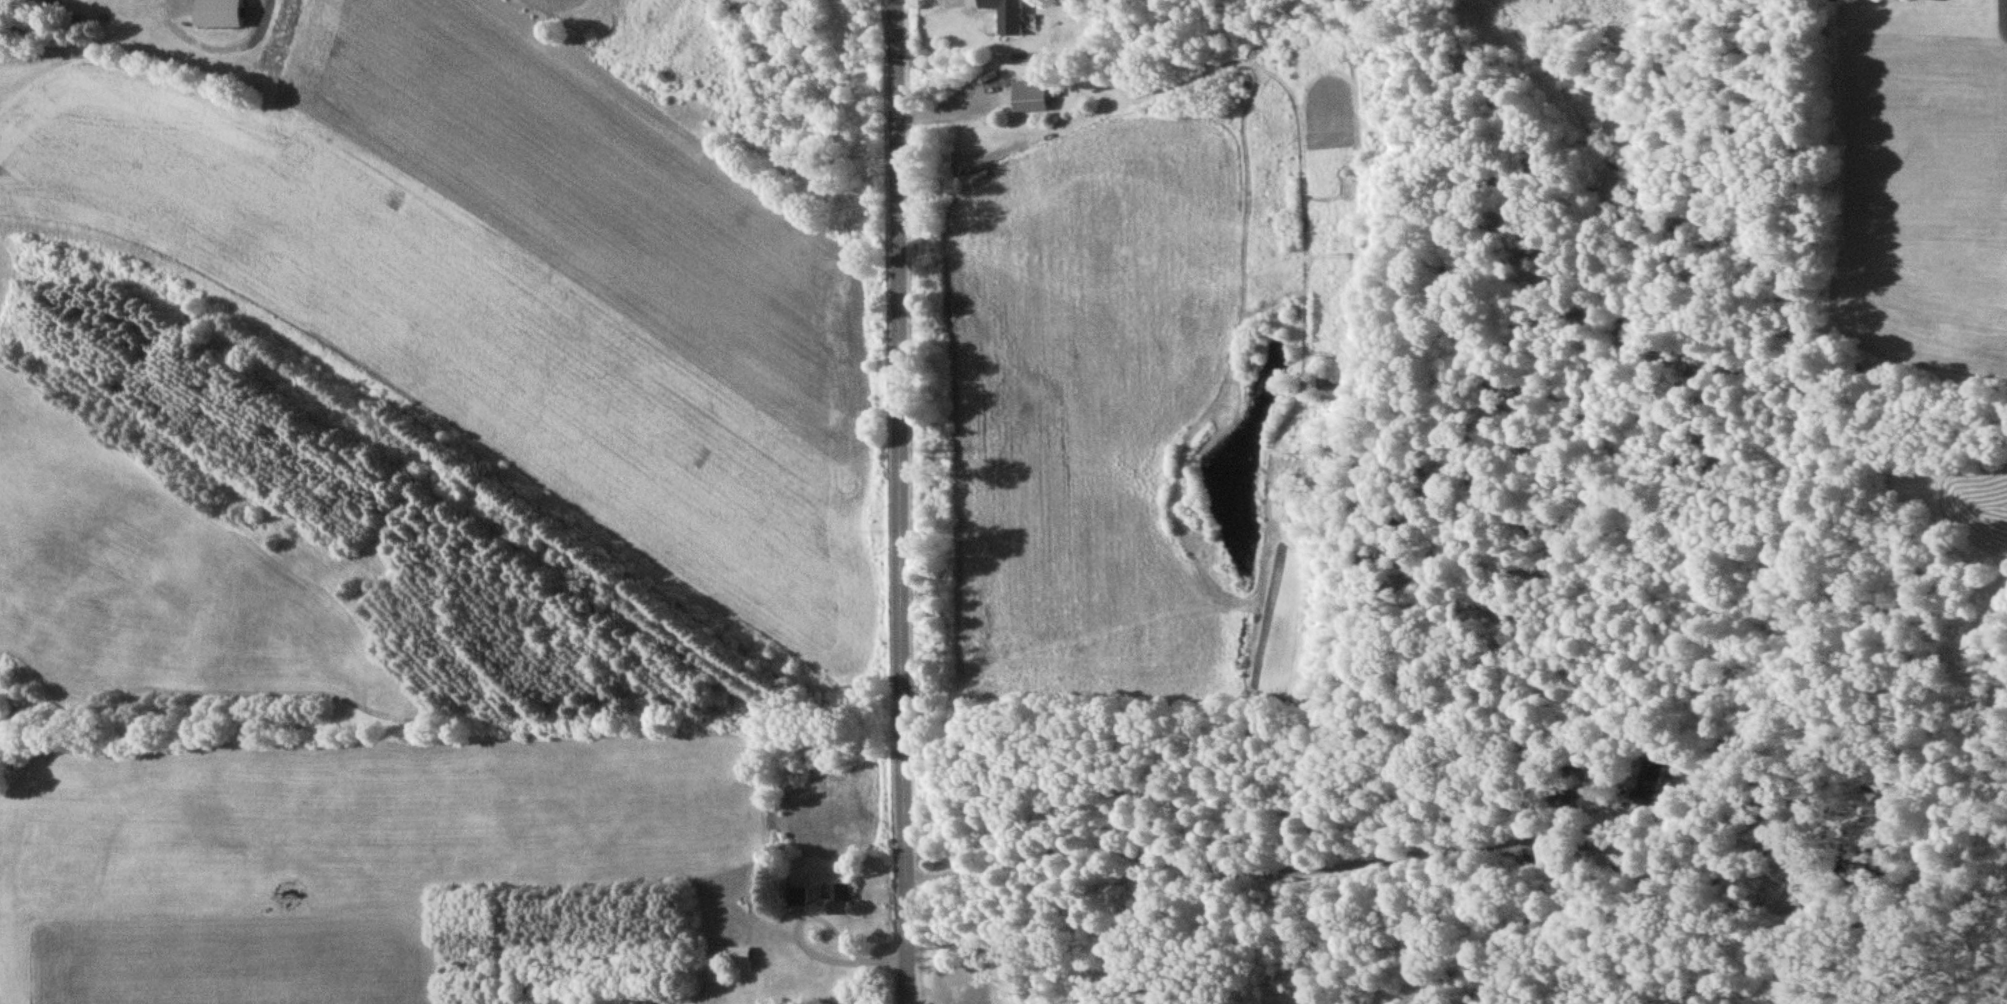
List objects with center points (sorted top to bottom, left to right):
building: (225, 13)
building: (1012, 15)
building: (1034, 94)
road: (900, 501)
building: (1642, 791)
road: (1269, 878)
building: (800, 895)
building: (841, 896)
road: (815, 921)
building: (740, 954)

